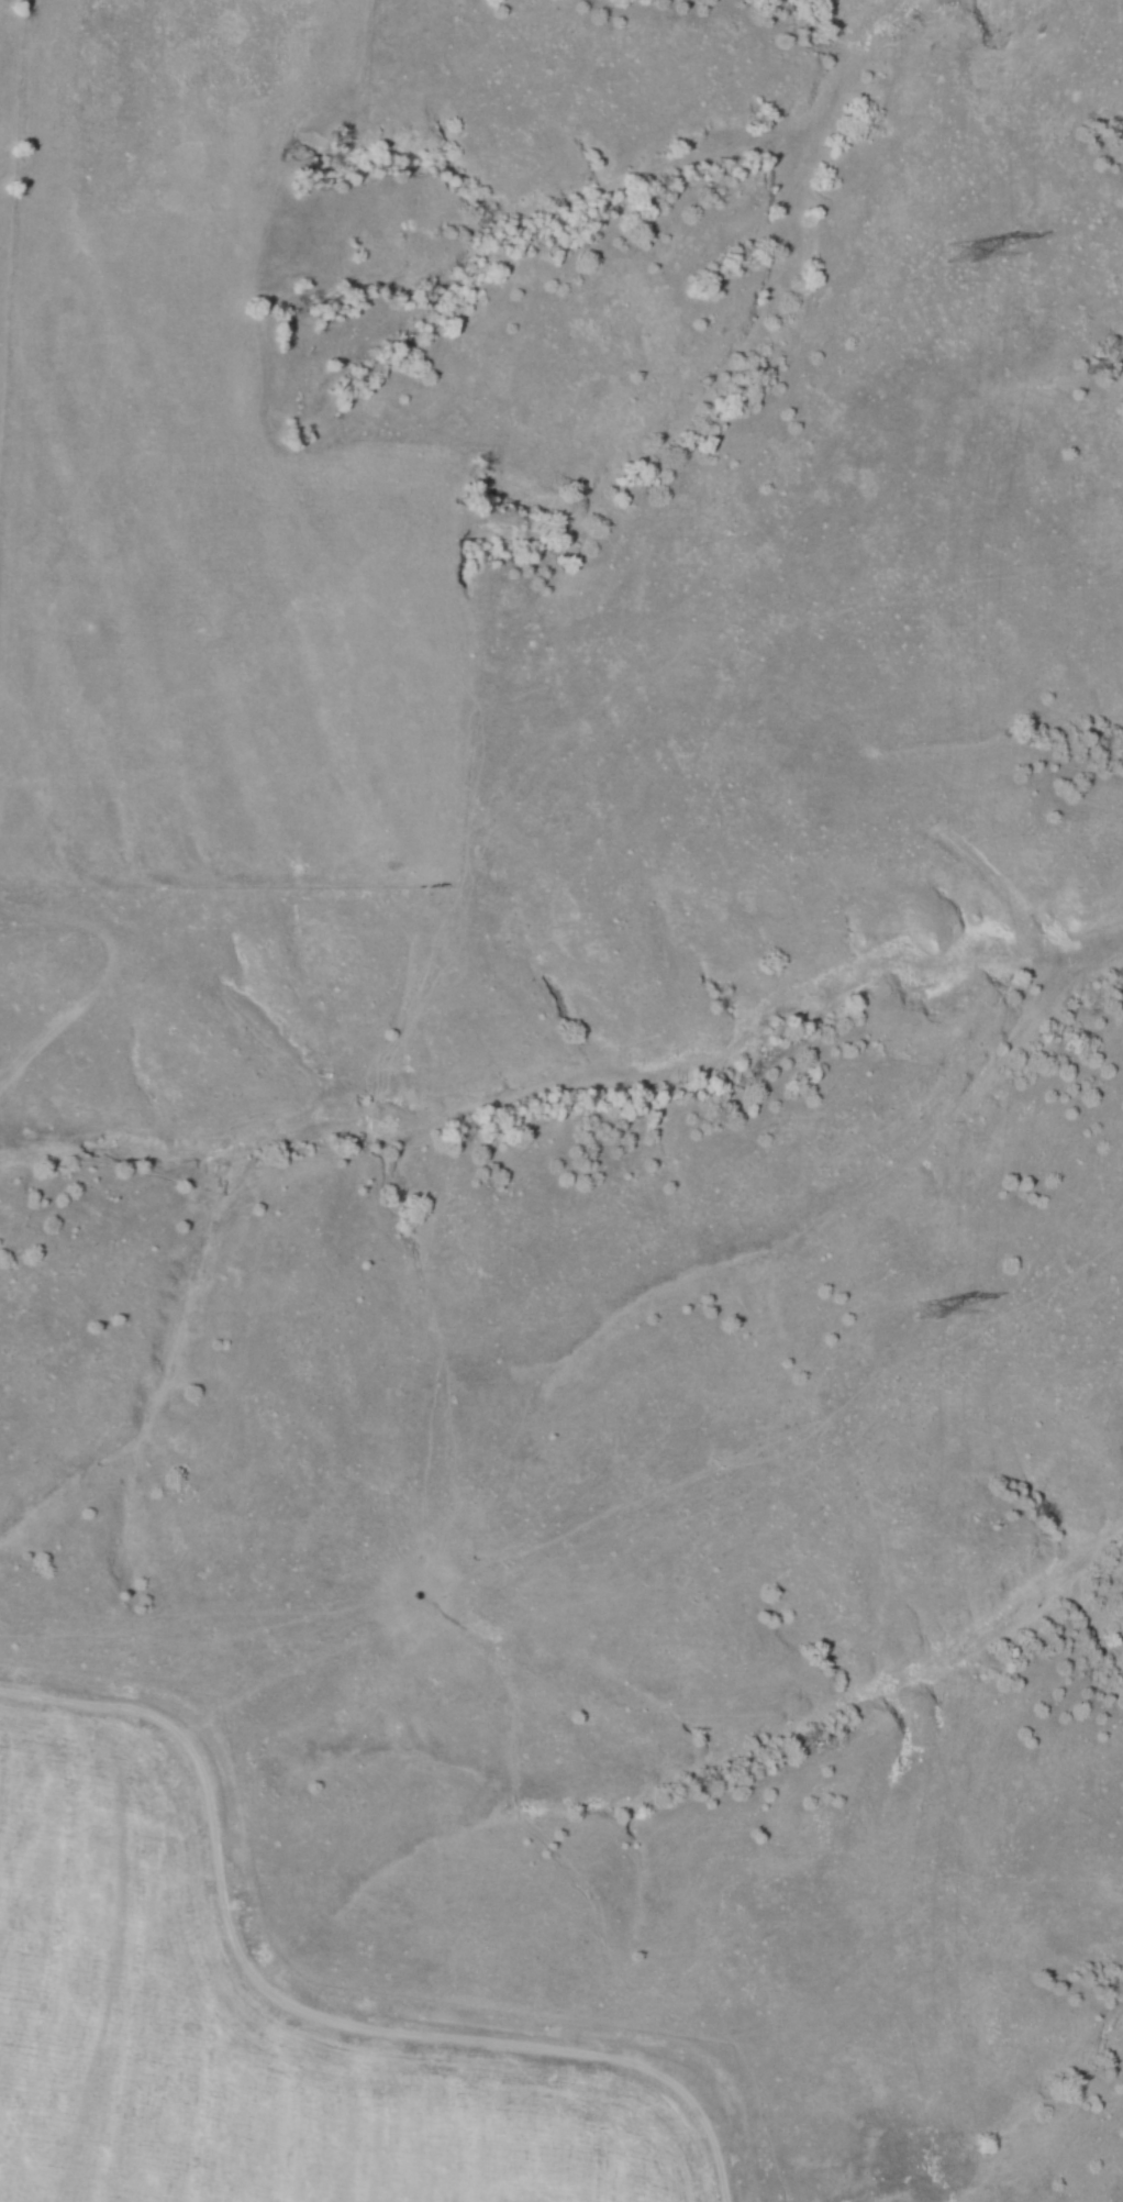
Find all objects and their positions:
power tower: (959, 254)
power tower: (925, 1310)
road: (304, 2017)

